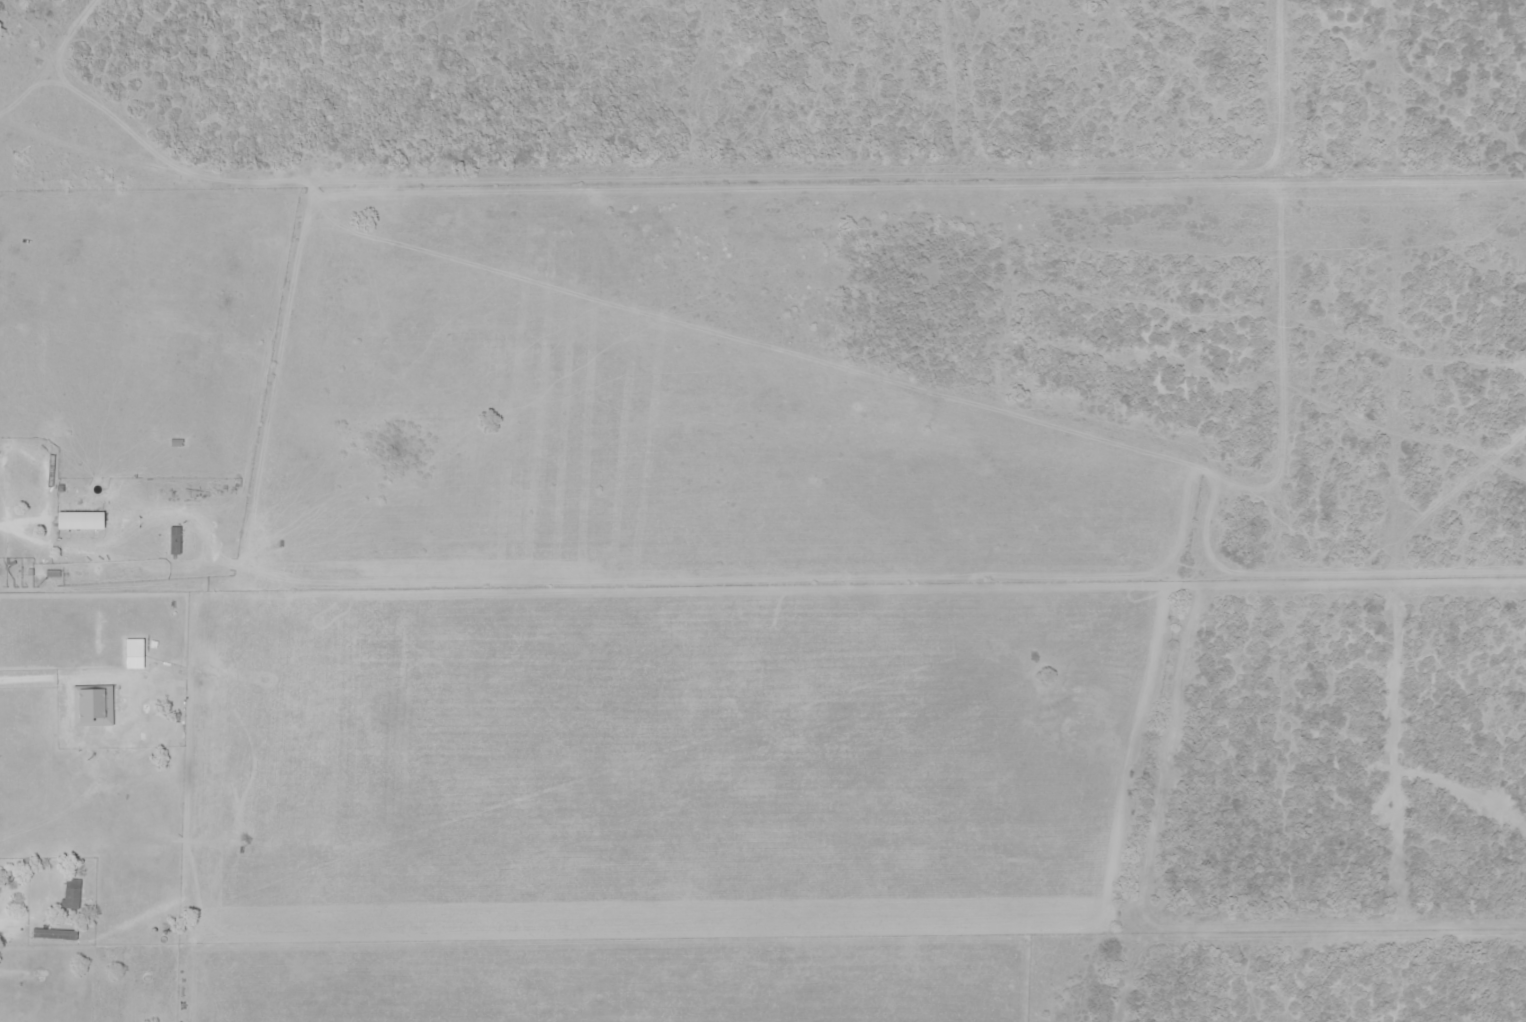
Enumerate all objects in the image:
building: (72, 892)
building: (54, 932)

